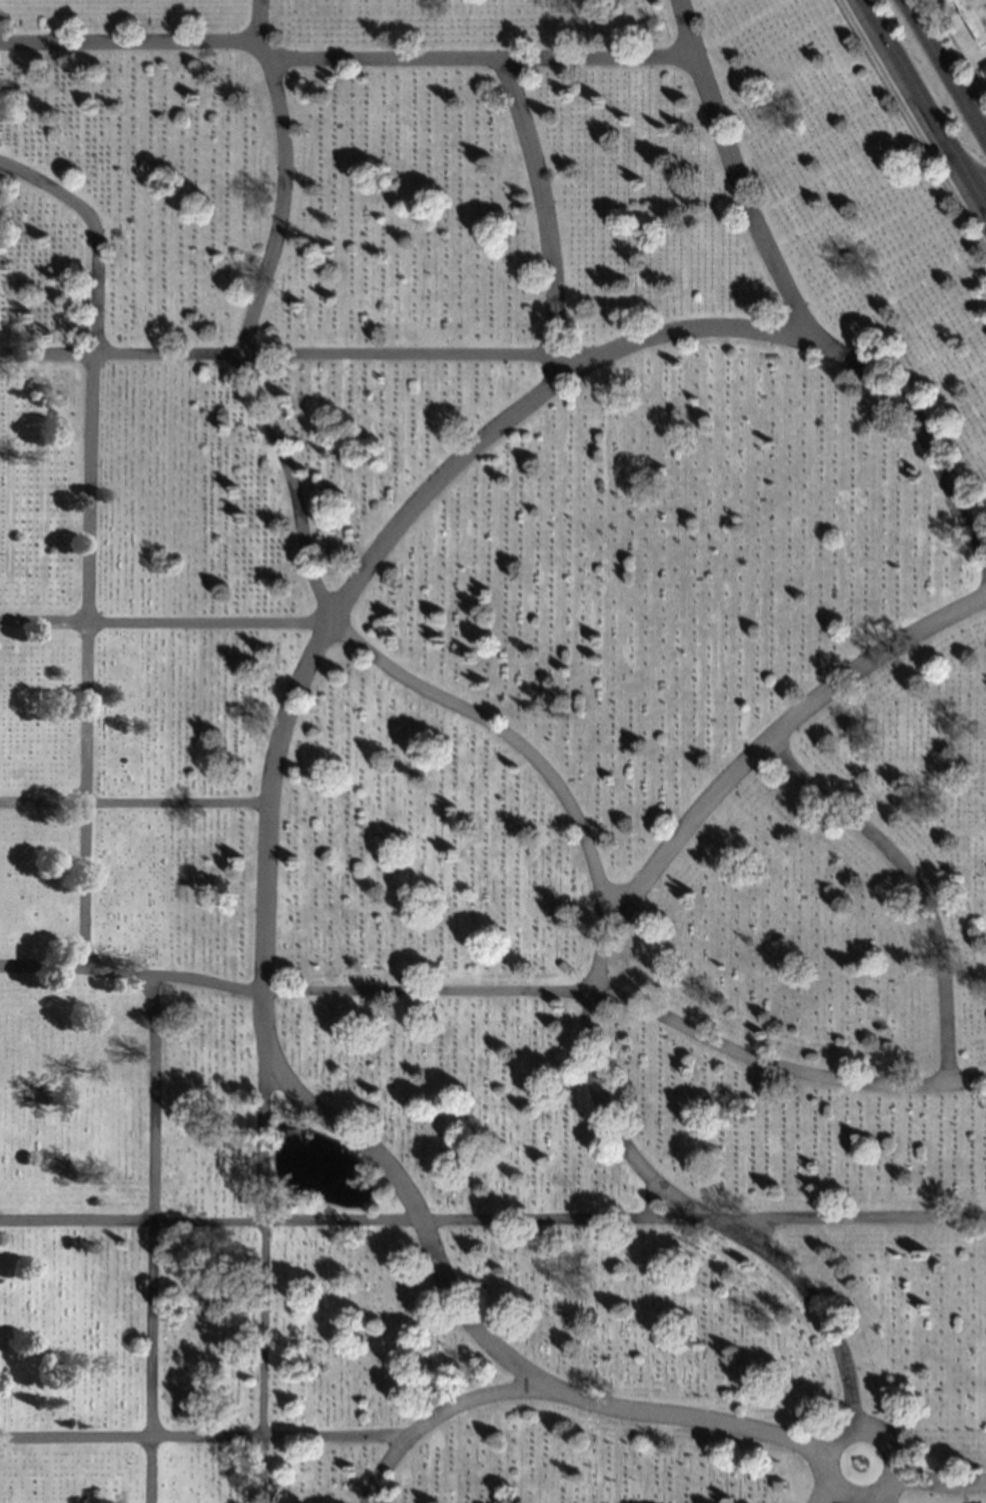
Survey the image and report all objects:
building: (975, 14)
road: (956, 49)
road: (949, 61)
road: (345, 62)
road: (920, 99)
road: (912, 125)
building: (302, 135)
road: (978, 180)
road: (982, 204)
road: (544, 220)
building: (525, 309)
road: (793, 309)
road: (249, 316)
building: (270, 331)
road: (294, 356)
road: (85, 542)
road: (367, 654)
road: (274, 758)
park: (487, 760)
road: (133, 805)
road: (911, 883)
building: (564, 967)
road: (595, 977)
road: (500, 993)
road: (493, 1223)
road: (150, 1240)
road: (260, 1277)
road: (572, 1399)
road: (846, 1432)
road: (203, 1438)
building: (773, 1463)
road: (937, 1484)
building: (778, 1486)
road: (821, 1496)
road: (878, 1500)

